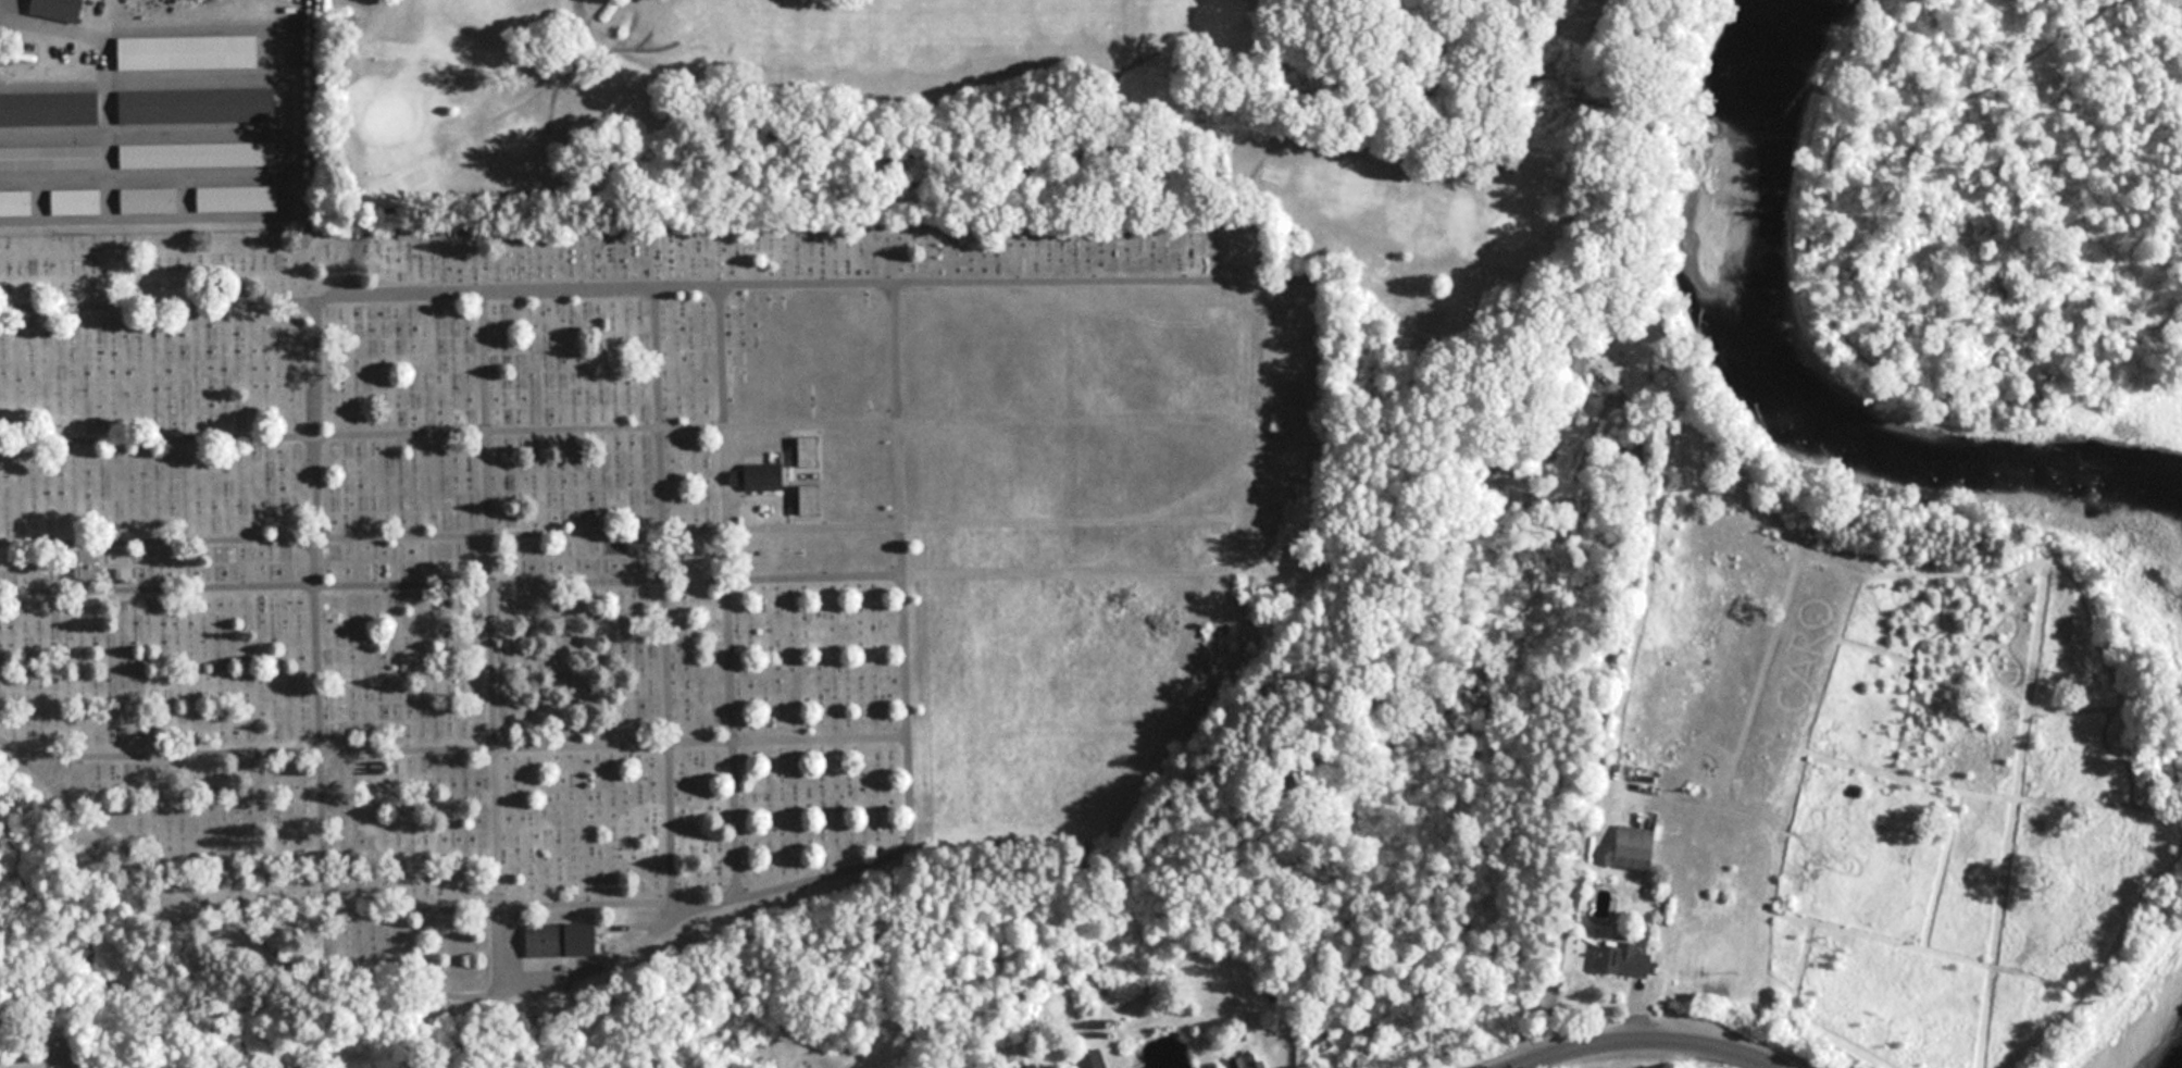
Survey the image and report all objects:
building: (62, 9)
building: (189, 52)
building: (199, 105)
building: (50, 109)
park: (1060, 146)
building: (199, 154)
building: (50, 158)
building: (238, 198)
building: (150, 200)
building: (77, 201)
building: (16, 202)
park: (665, 252)
road: (1081, 270)
river: (1801, 385)
road: (449, 420)
road: (723, 420)
building: (809, 451)
building: (760, 465)
road: (901, 485)
building: (812, 499)
road: (663, 504)
road: (451, 520)
road: (451, 571)
park: (619, 611)
road: (319, 625)
road: (491, 675)
road: (1576, 752)
road: (734, 761)
building: (1638, 843)
road: (876, 850)
road: (145, 866)
road: (532, 892)
building: (563, 929)
road: (598, 952)
building: (1630, 959)
road: (1639, 1039)
river: (2165, 1047)
building: (1095, 1059)
building: (1249, 1060)

